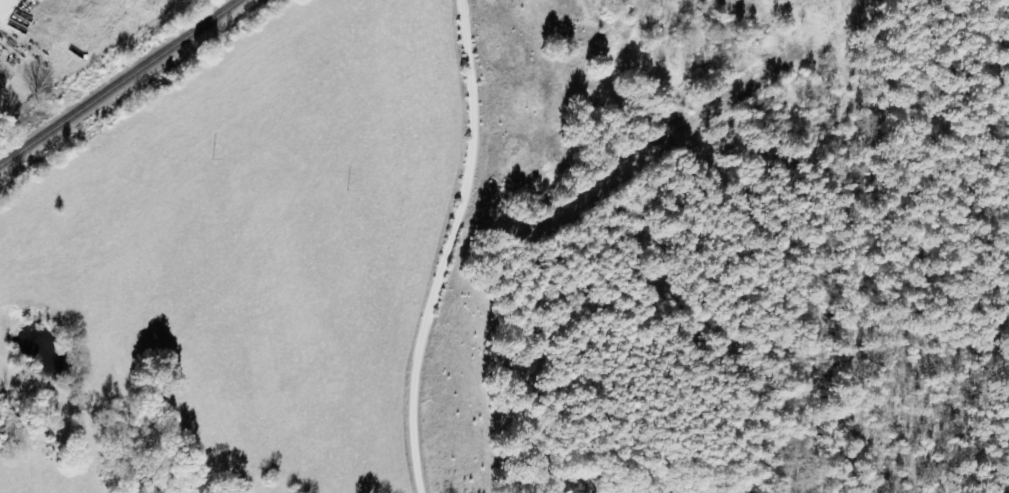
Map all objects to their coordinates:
road: (476, 75)
railway: (120, 82)
road: (451, 318)

